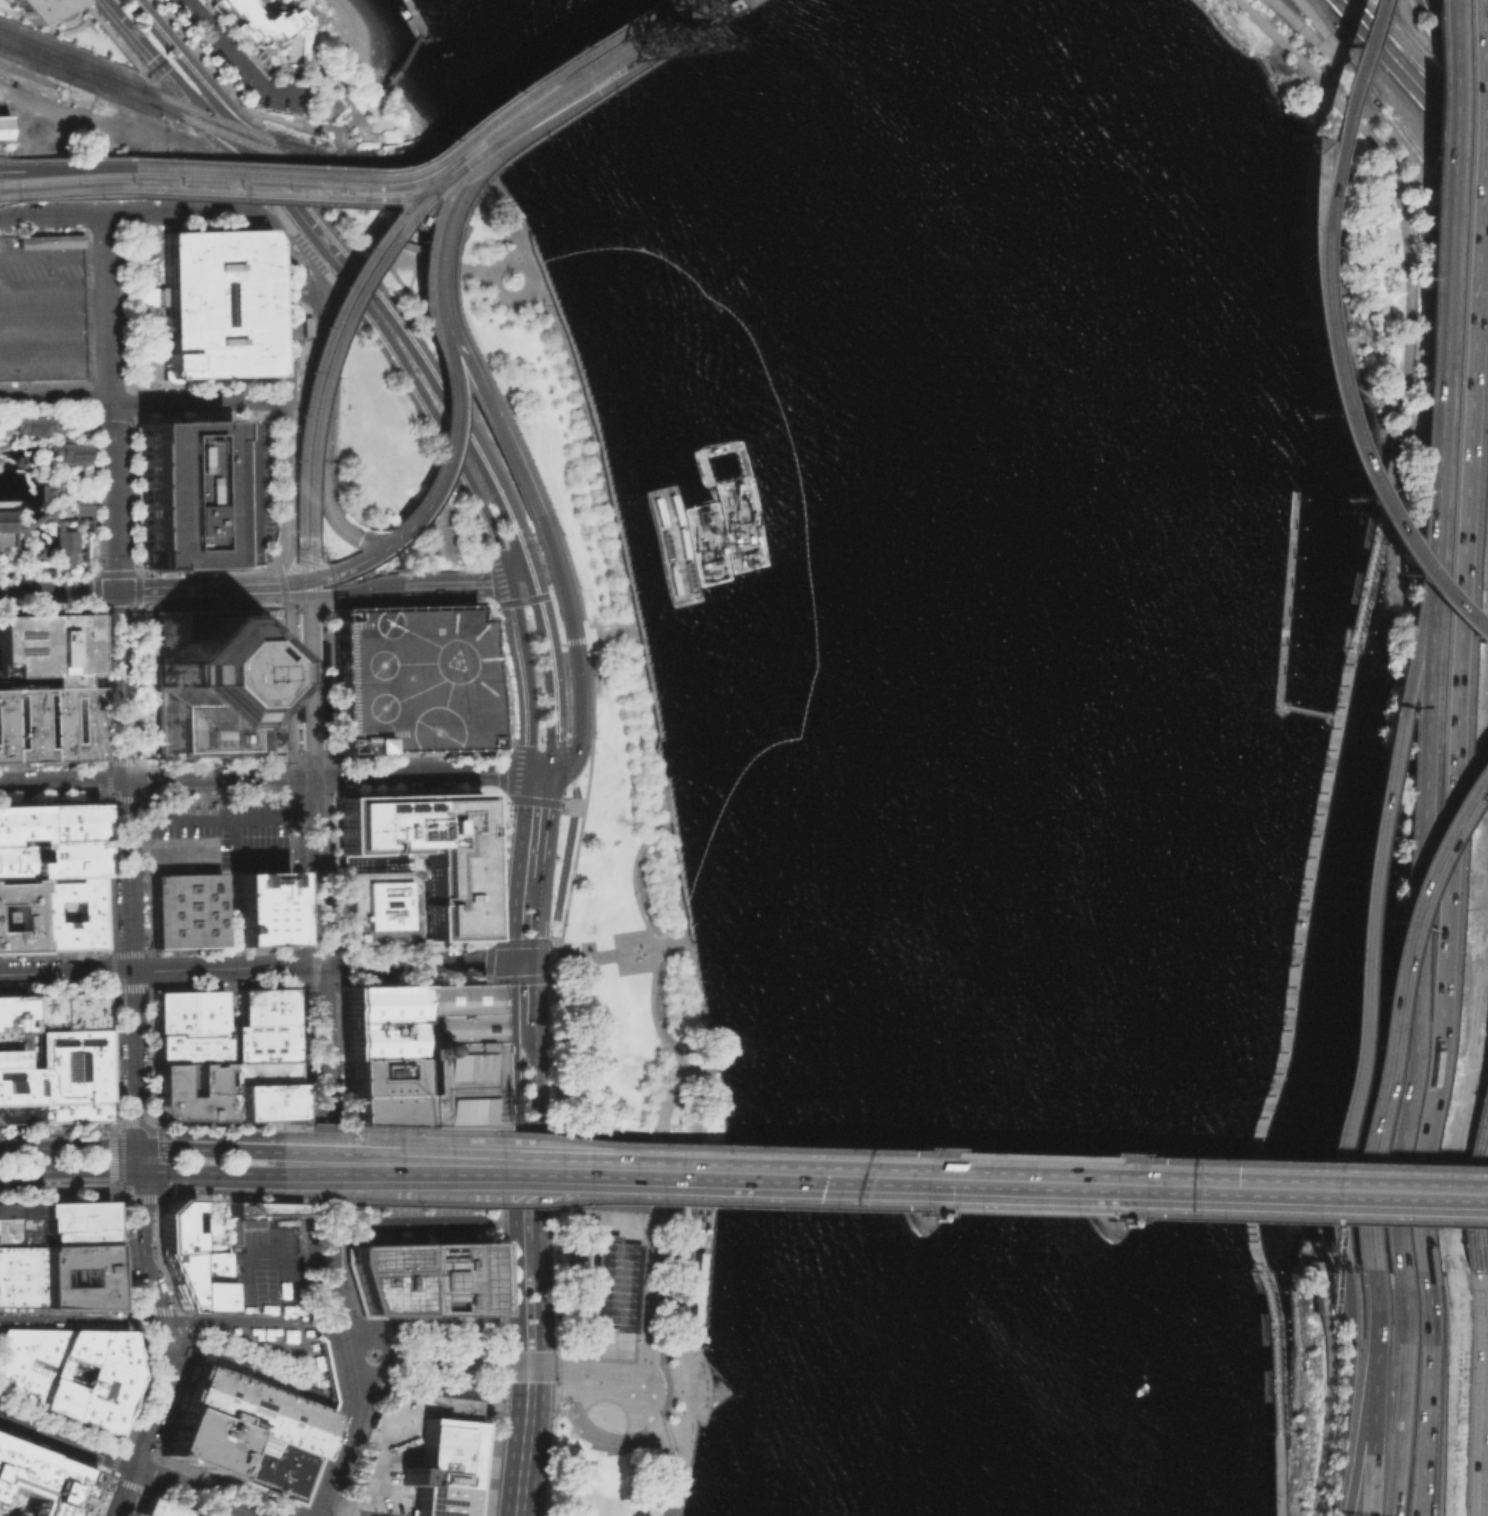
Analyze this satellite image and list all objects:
building: (721, 2)
road: (652, 3)
road: (1297, 4)
railway: (1359, 4)
road: (663, 6)
building: (35, 7)
railway: (670, 9)
road: (1280, 10)
railway: (676, 11)
road: (416, 15)
railway: (687, 15)
railway: (690, 16)
building: (259, 18)
pier: (416, 21)
road: (704, 21)
road: (711, 23)
road: (712, 24)
road: (54, 29)
road: (1450, 47)
road: (1330, 53)
road: (179, 57)
road: (237, 57)
road: (1436, 57)
railway: (73, 58)
road: (204, 58)
road: (1337, 61)
traffic signals: (642, 63)
railway: (73, 65)
road: (397, 66)
road: (1427, 67)
railway: (1425, 74)
railway: (31, 75)
road: (325, 75)
road: (169, 77)
railway: (1426, 83)
railway: (557, 87)
railway: (1416, 87)
road: (538, 90)
railway: (560, 97)
railway: (1409, 98)
railway: (533, 99)
road: (584, 107)
road: (583, 108)
road: (569, 109)
railway: (538, 111)
road: (377, 114)
road: (244, 117)
railway: (196, 120)
road: (362, 120)
road: (294, 123)
road: (240, 128)
building: (4, 129)
road: (119, 131)
railway: (270, 138)
road: (65, 159)
road: (412, 161)
road: (75, 166)
road: (10, 169)
road: (240, 173)
road: (278, 173)
road: (1391, 174)
railway: (64, 179)
railway: (297, 183)
railway: (65, 191)
railway: (298, 193)
road: (1293, 202)
road: (1399, 205)
road: (451, 206)
road: (509, 207)
road: (191, 209)
road: (52, 212)
road: (313, 214)
railway: (415, 223)
road: (457, 224)
park: (1357, 230)
road: (368, 240)
building: (47, 242)
road: (53, 254)
road: (452, 254)
road: (501, 256)
road: (533, 268)
road: (377, 271)
road: (411, 274)
road: (1433, 274)
road: (433, 280)
railway: (342, 291)
road: (54, 294)
railway: (349, 298)
road: (506, 299)
building: (215, 302)
road: (108, 306)
road: (284, 307)
parking lot: (40, 312)
building: (305, 325)
road: (428, 327)
road: (54, 332)
road: (464, 340)
road: (415, 345)
road: (1303, 350)
road: (393, 354)
road: (332, 359)
road: (55, 368)
road: (55, 399)
road: (198, 399)
road: (91, 407)
road: (248, 409)
road: (101, 415)
road: (490, 416)
building: (28, 426)
road: (12, 436)
road: (450, 436)
road: (26, 439)
road: (55, 451)
building: (73, 454)
road: (4, 460)
building: (16, 462)
road: (27, 464)
road: (53, 465)
road: (49, 467)
road: (251, 482)
road: (498, 485)
road: (287, 486)
parking lot: (252, 490)
building: (44, 493)
road: (93, 494)
building: (185, 495)
road: (65, 496)
road: (112, 496)
building: (80, 508)
road: (6, 509)
road: (440, 509)
railway: (311, 512)
railway: (302, 513)
road: (526, 516)
road: (337, 519)
building: (6, 521)
road: (33, 521)
road: (49, 521)
road: (1378, 528)
traffic signals: (358, 537)
road: (9, 544)
building: (64, 549)
building: (32, 553)
road: (364, 558)
road: (20, 559)
road: (568, 560)
road: (557, 564)
traffic signals: (532, 571)
road: (115, 572)
road: (47, 574)
traffic signals: (328, 574)
road: (276, 578)
traffic signals: (507, 580)
road: (304, 581)
road: (252, 582)
road: (473, 583)
road: (170, 589)
road: (137, 590)
road: (95, 591)
traffic signals: (115, 592)
road: (57, 593)
road: (319, 595)
traffic signals: (328, 595)
road: (409, 598)
road: (523, 601)
road: (1287, 602)
road: (290, 604)
pier: (1287, 606)
road: (116, 608)
railway: (326, 612)
airport apron: (374, 623)
road: (1413, 623)
road: (625, 630)
road: (1453, 635)
airport taxiway: (408, 636)
road: (579, 639)
building: (47, 646)
road: (548, 646)
road: (1422, 658)
helipad: (445, 660)
airport taxiway: (402, 662)
airport apron: (366, 663)
parking lot: (23, 665)
road: (21, 667)
road: (523, 675)
airport: (410, 676)
road: (591, 677)
building: (411, 678)
parking lot: (411, 678)
road: (326, 682)
building: (207, 683)
road: (296, 683)
road: (139, 685)
road: (97, 686)
road: (310, 686)
road: (118, 687)
airport taxiway: (407, 689)
airport taxiway: (434, 693)
road: (579, 702)
road: (650, 704)
airport apron: (367, 705)
road: (1312, 711)
river: (1039, 713)
building: (46, 723)
airport apron: (421, 727)
road: (553, 747)
railway: (291, 748)
road: (323, 759)
road: (120, 762)
road: (293, 766)
road: (539, 771)
traffic signals: (552, 771)
traffic signals: (527, 772)
road: (323, 776)
road: (60, 783)
road: (530, 799)
road: (122, 801)
road: (272, 815)
road: (177, 818)
building: (66, 821)
building: (18, 823)
road: (546, 824)
parking lot: (228, 828)
road: (568, 832)
road: (232, 835)
road: (578, 841)
building: (424, 849)
parking lot: (184, 850)
road: (273, 852)
road: (160, 854)
building: (65, 858)
road: (415, 861)
building: (12, 862)
road: (517, 866)
road: (315, 871)
road: (634, 878)
road: (125, 894)
building: (372, 905)
road: (538, 906)
building: (259, 907)
road: (681, 908)
building: (183, 909)
building: (41, 910)
park: (595, 911)
building: (15, 914)
road: (1303, 919)
road: (535, 942)
road: (376, 947)
road: (535, 947)
pier: (1296, 951)
road: (650, 952)
railway: (317, 955)
road: (608, 955)
road: (335, 957)
road: (557, 959)
road: (521, 960)
traffic signals: (534, 960)
traffic signals: (509, 961)
road: (413, 962)
road: (655, 962)
road: (312, 966)
traffic signals: (318, 966)
road: (216, 968)
road: (63, 972)
road: (336, 972)
road: (301, 974)
road: (532, 979)
road: (320, 981)
road: (1358, 982)
road: (534, 990)
road: (1389, 1001)
building: (80, 1010)
building: (12, 1011)
building: (42, 1011)
building: (186, 1011)
building: (447, 1011)
road: (653, 1016)
road: (1413, 1019)
building: (376, 1021)
building: (261, 1024)
building: (16, 1039)
railway: (317, 1041)
railway: (327, 1041)
building: (188, 1047)
building: (16, 1057)
road: (129, 1057)
road: (338, 1057)
road: (324, 1063)
road: (510, 1064)
building: (68, 1065)
building: (204, 1082)
building: (449, 1084)
building: (17, 1085)
building: (258, 1090)
building: (377, 1091)
road: (536, 1094)
building: (69, 1111)
building: (17, 1112)
railway: (308, 1116)
road: (312, 1117)
road: (143, 1121)
road: (216, 1125)
road: (290, 1126)
road: (510, 1134)
traffic signals: (131, 1145)
road: (425, 1145)
road: (65, 1146)
road: (205, 1149)
road: (831, 1151)
road: (1030, 1157)
road: (131, 1158)
road: (322, 1162)
road: (1227, 1162)
road: (430, 1166)
road: (1414, 1167)
road: (524, 1168)
road: (635, 1171)
traffic signals: (132, 1172)
road: (65, 1173)
road: (207, 1173)
road: (590, 1174)
road: (643, 1174)
road: (668, 1175)
road: (830, 1177)
traffic signals: (850, 1178)
road: (987, 1181)
parking lot: (415, 1184)
road: (1071, 1184)
traffic signals: (1192, 1187)
road: (1226, 1188)
road: (1413, 1193)
road: (149, 1196)
road: (222, 1197)
road: (291, 1198)
road: (645, 1200)
road: (373, 1202)
road: (509, 1204)
road: (829, 1206)
building: (259, 1208)
building: (18, 1209)
road: (1028, 1211)
building: (929, 1214)
building: (72, 1215)
road: (1225, 1217)
building: (1124, 1220)
road: (1413, 1221)
building: (173, 1226)
road: (342, 1226)
road: (1274, 1228)
building: (18, 1231)
building: (234, 1235)
building: (73, 1237)
road: (275, 1239)
road: (328, 1242)
road: (528, 1244)
road: (135, 1247)
road: (263, 1248)
road: (669, 1249)
road: (1487, 1255)
building: (577, 1258)
road: (1324, 1259)
parking lot: (266, 1267)
road: (516, 1267)
road: (539, 1268)
railway: (345, 1272)
building: (19, 1275)
building: (178, 1276)
building: (384, 1277)
road: (602, 1277)
building: (96, 1278)
building: (455, 1278)
road: (626, 1278)
road: (680, 1280)
building: (209, 1281)
building: (613, 1281)
road: (314, 1284)
building: (693, 1284)
road: (642, 1292)
road: (335, 1315)
road: (76, 1319)
road: (354, 1319)
road: (221, 1320)
road: (1331, 1321)
road: (1377, 1321)
road: (311, 1322)
road: (321, 1325)
road: (425, 1325)
road: (356, 1329)
road: (341, 1336)
traffic signals: (519, 1349)
road: (425, 1353)
parking lot: (270, 1354)
fountain: (371, 1355)
road: (672, 1358)
road: (395, 1360)
building: (26, 1361)
road: (542, 1364)
road: (596, 1364)
road: (512, 1365)
road: (424, 1366)
road: (600, 1366)
road: (620, 1366)
road: (652, 1370)
road: (389, 1376)
building: (89, 1378)
road: (365, 1378)
traffic signals: (529, 1380)
park: (1317, 1382)
road: (1327, 1387)
road: (1275, 1389)
road: (1483, 1392)
road: (1345, 1393)
road: (1427, 1393)
road: (1403, 1394)
road: (652, 1399)
building: (252, 1403)
building: (456, 1407)
road: (660, 1411)
fountain: (605, 1416)
road: (673, 1417)
road: (146, 1419)
road: (346, 1420)
road: (524, 1440)
building: (199, 1443)
road: (1357, 1443)
road: (1370, 1444)
parking lot: (390, 1452)
road: (128, 1465)
building: (264, 1468)
building: (442, 1468)
road: (348, 1469)
road: (368, 1480)
building: (40, 1485)
road: (1481, 1503)
road: (331, 1508)
building: (158, 1509)
road: (299, 1513)
road: (293, 1514)
road: (342, 1514)
road: (251, 1515)

